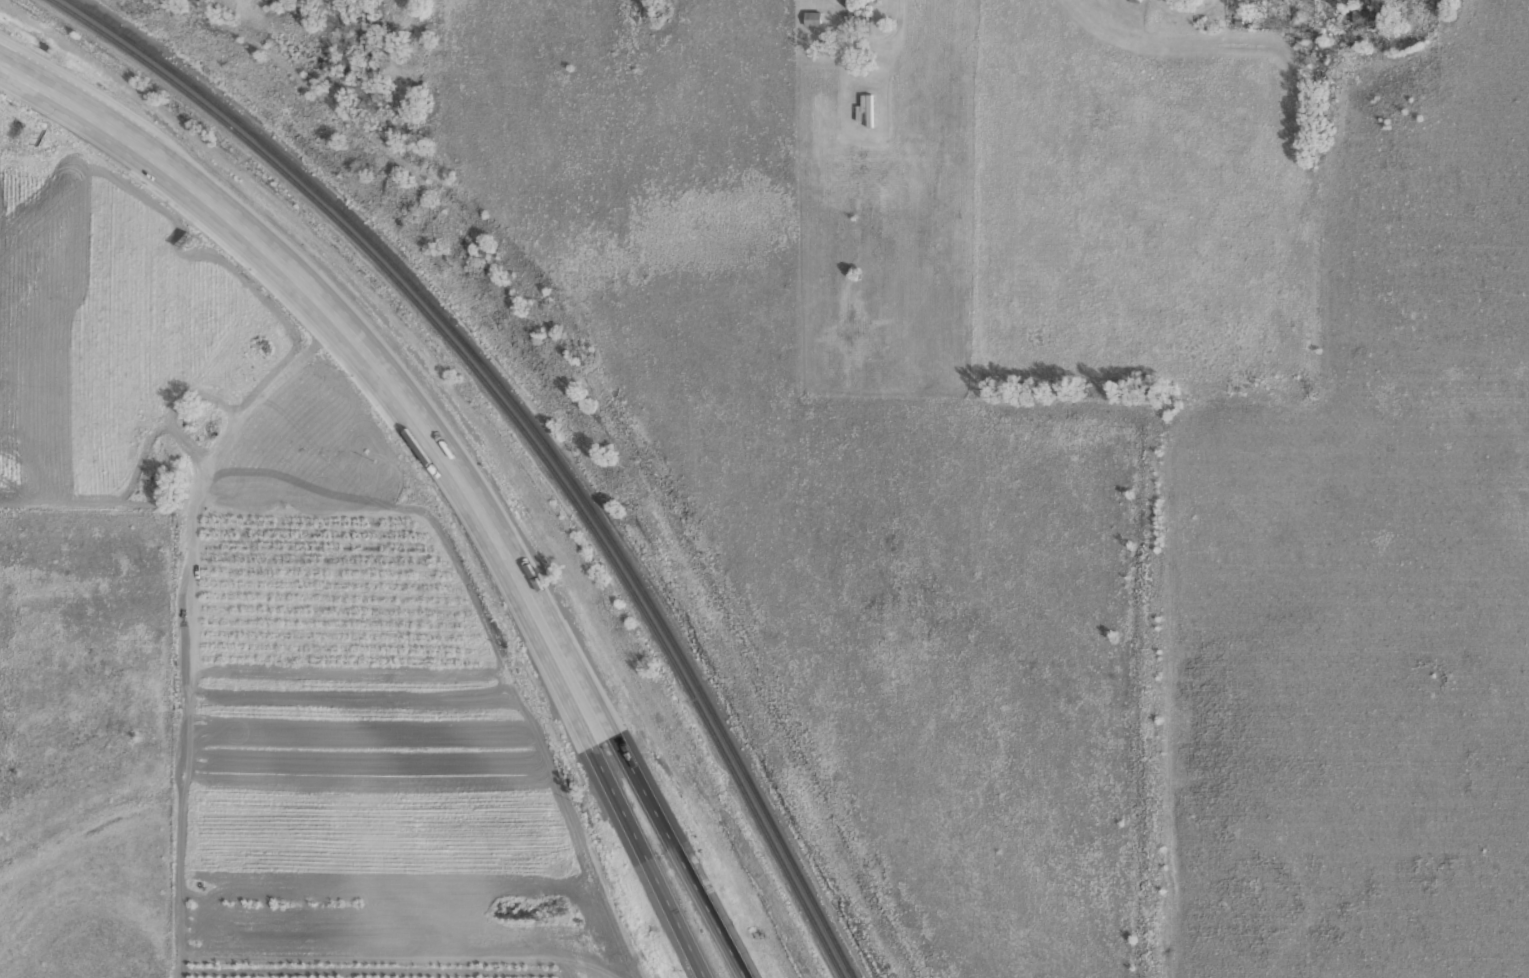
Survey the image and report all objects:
building: (813, 19)
building: (866, 108)
road: (306, 280)
railway: (517, 426)
railway: (537, 429)
road: (644, 780)
road: (614, 784)

